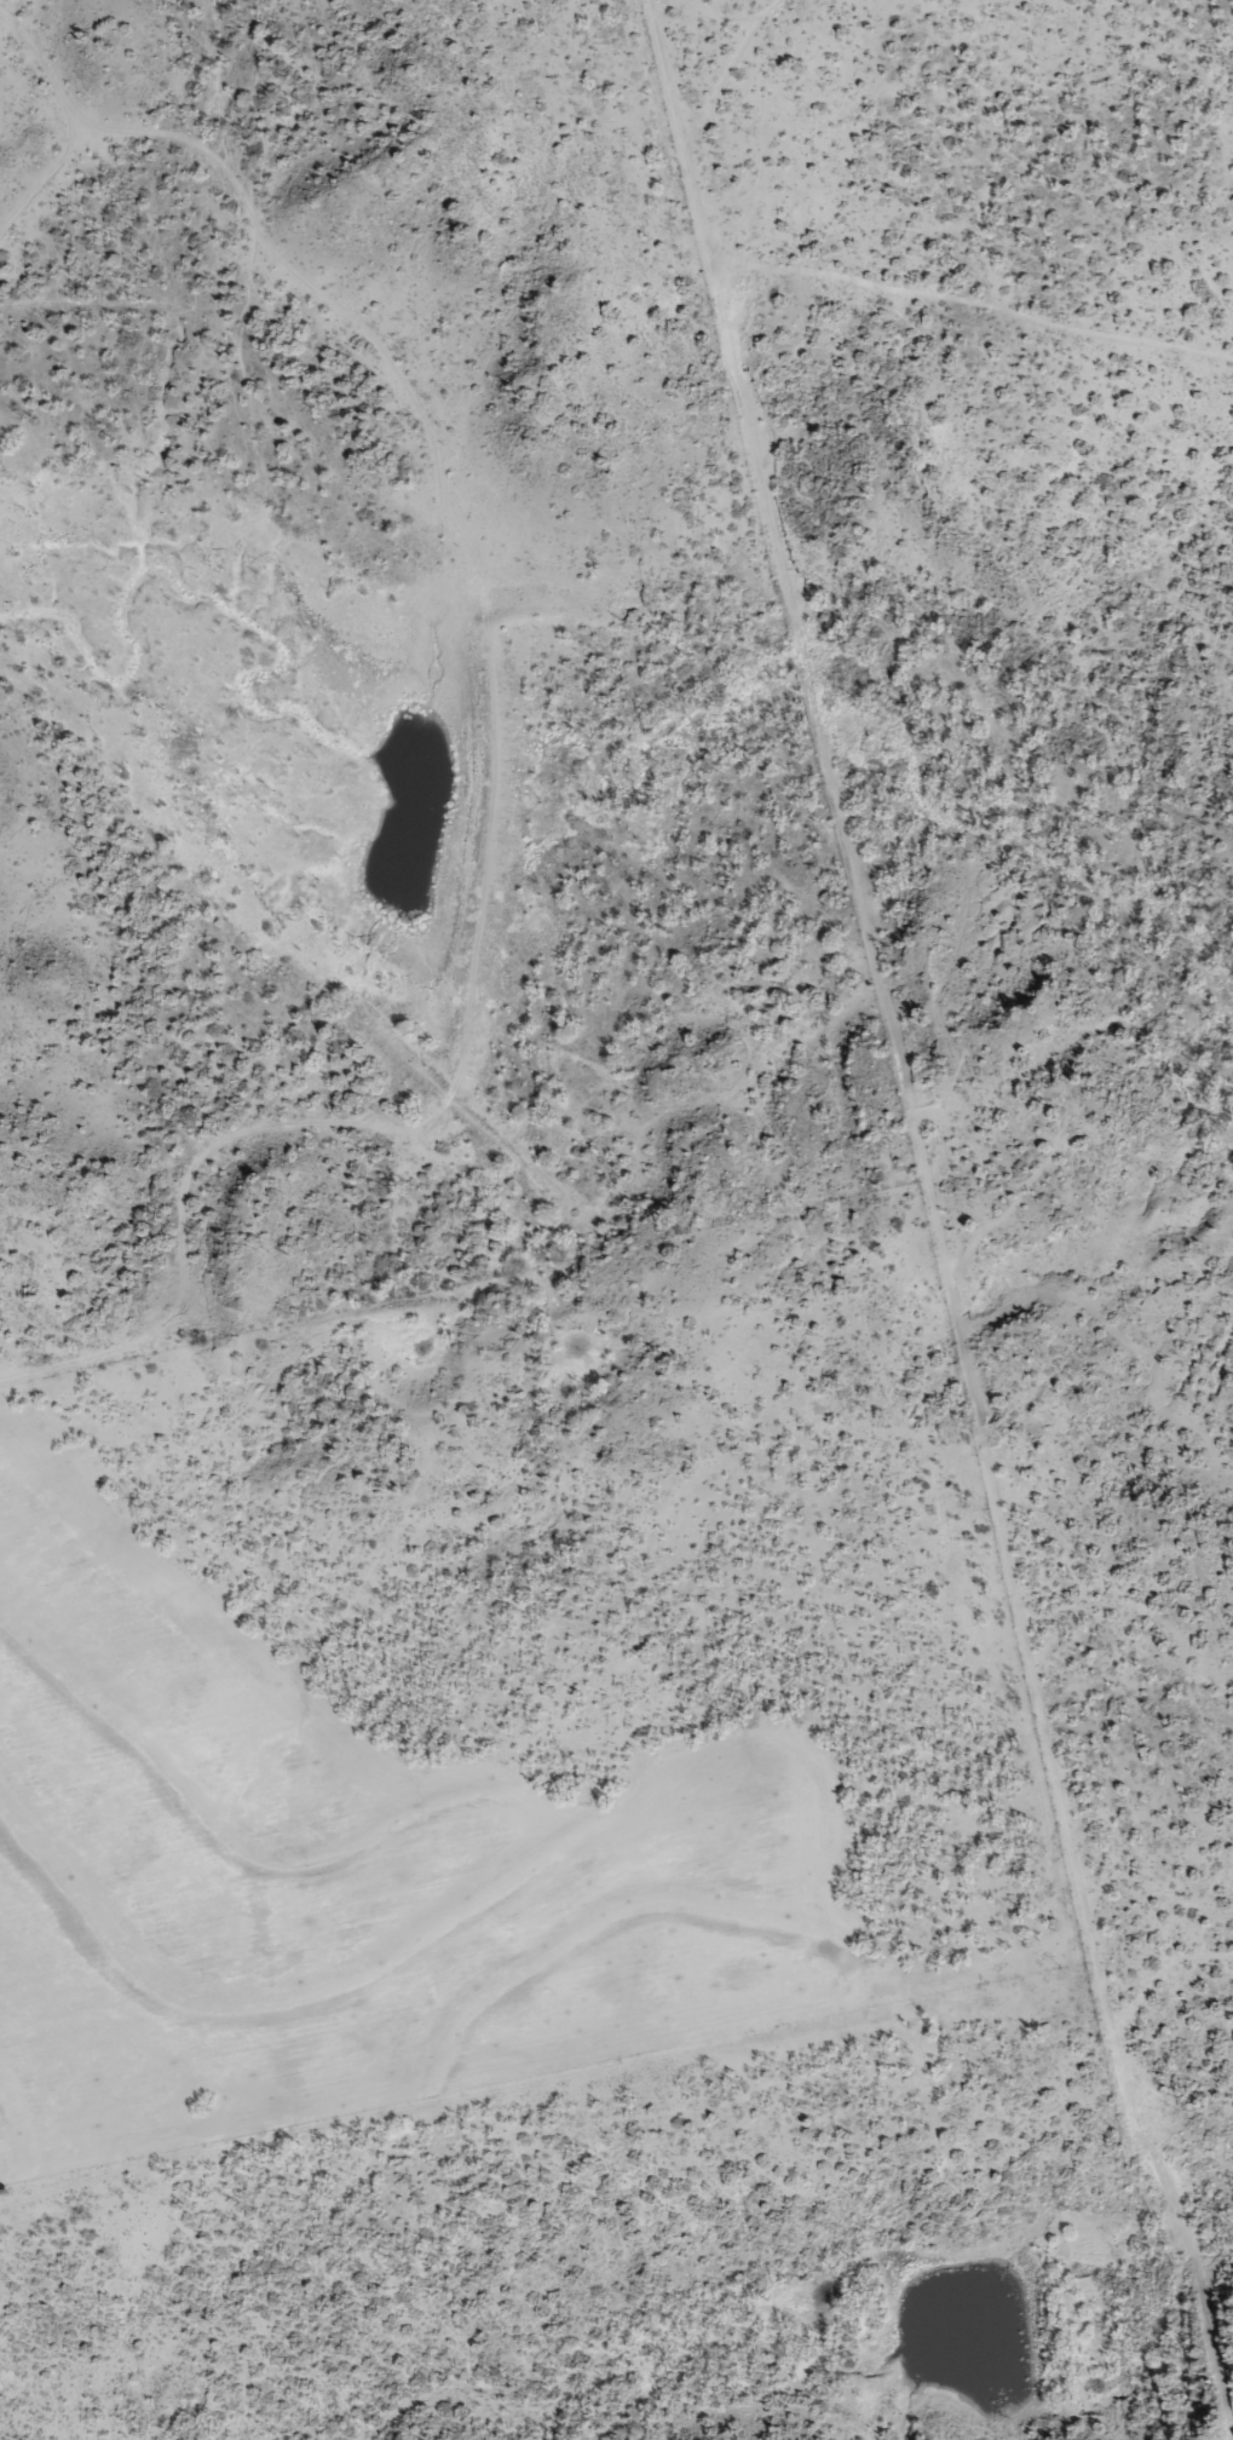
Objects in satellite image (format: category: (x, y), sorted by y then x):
road: (576, 2097)

